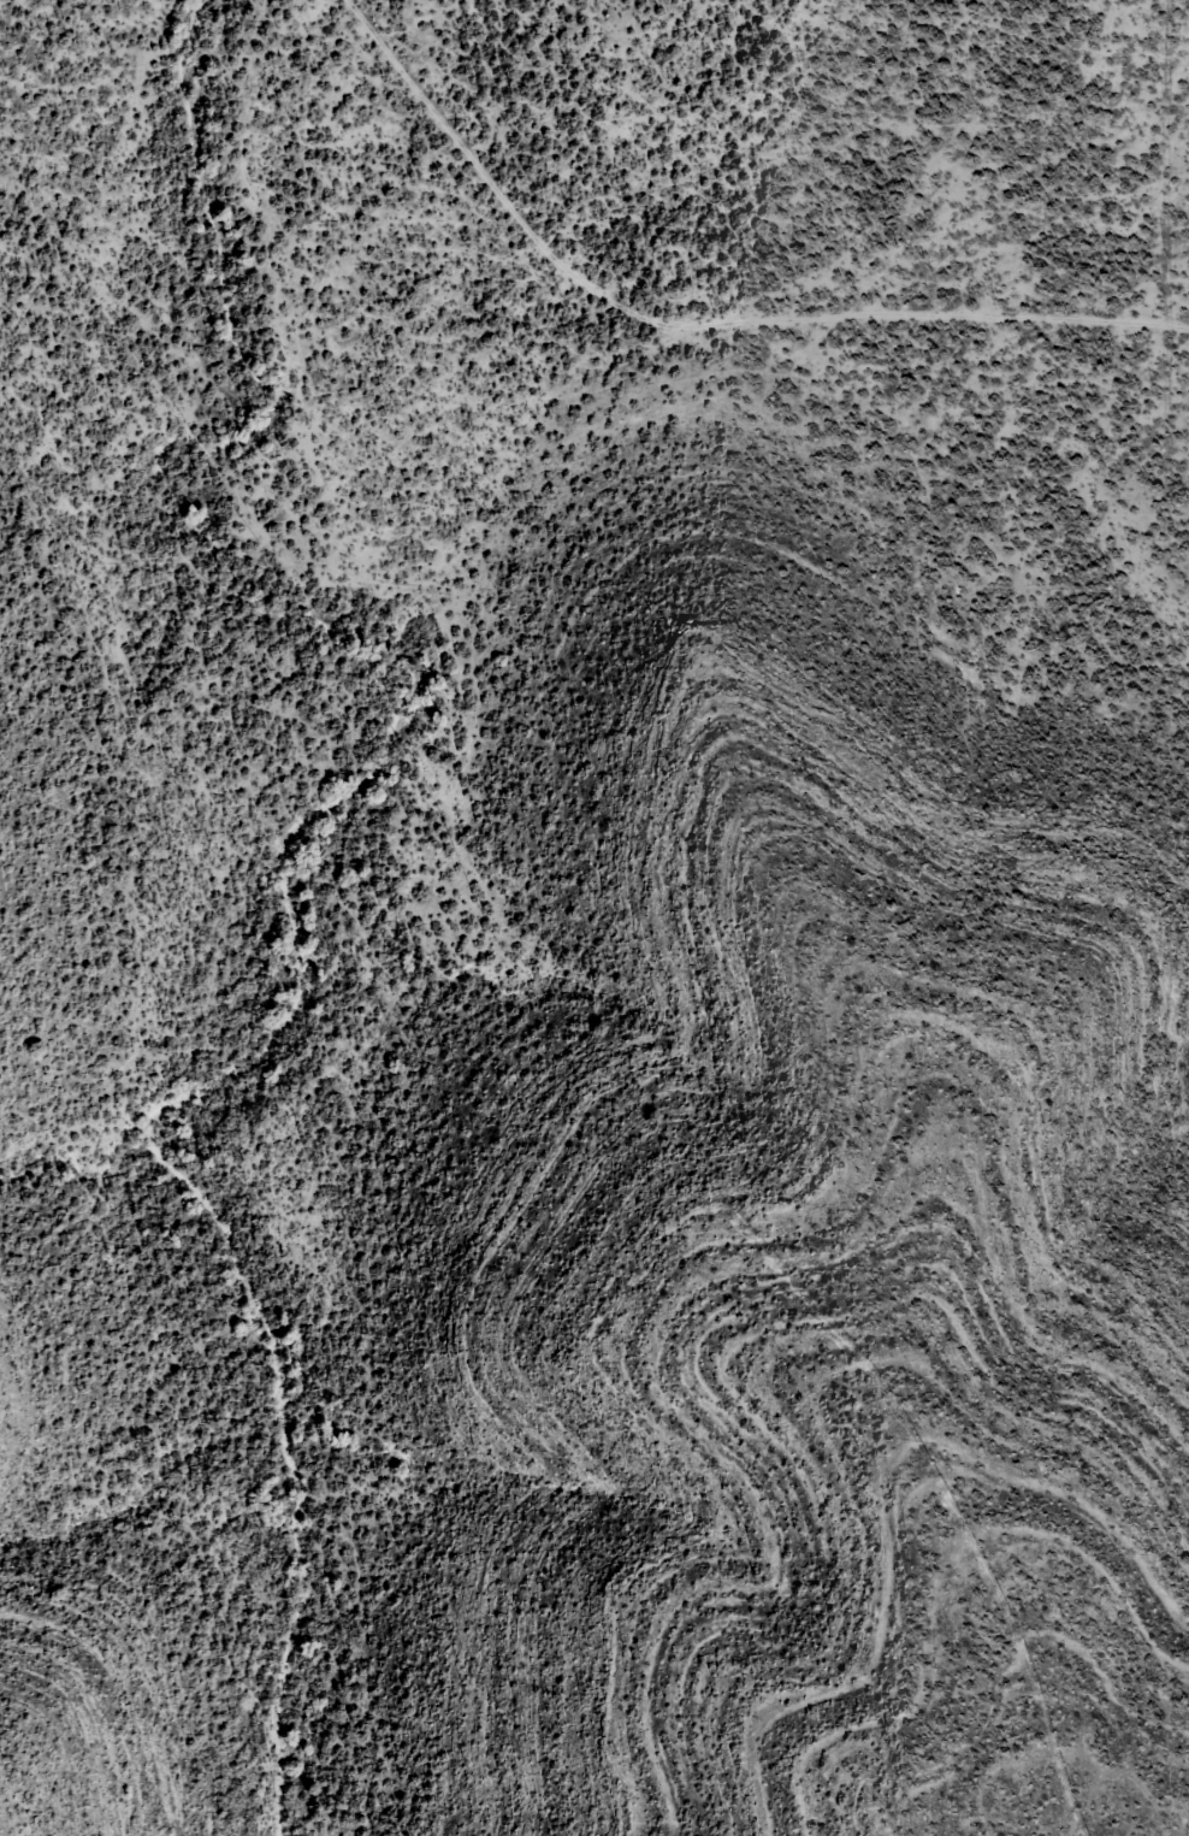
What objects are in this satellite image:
road: (502, 1032)

